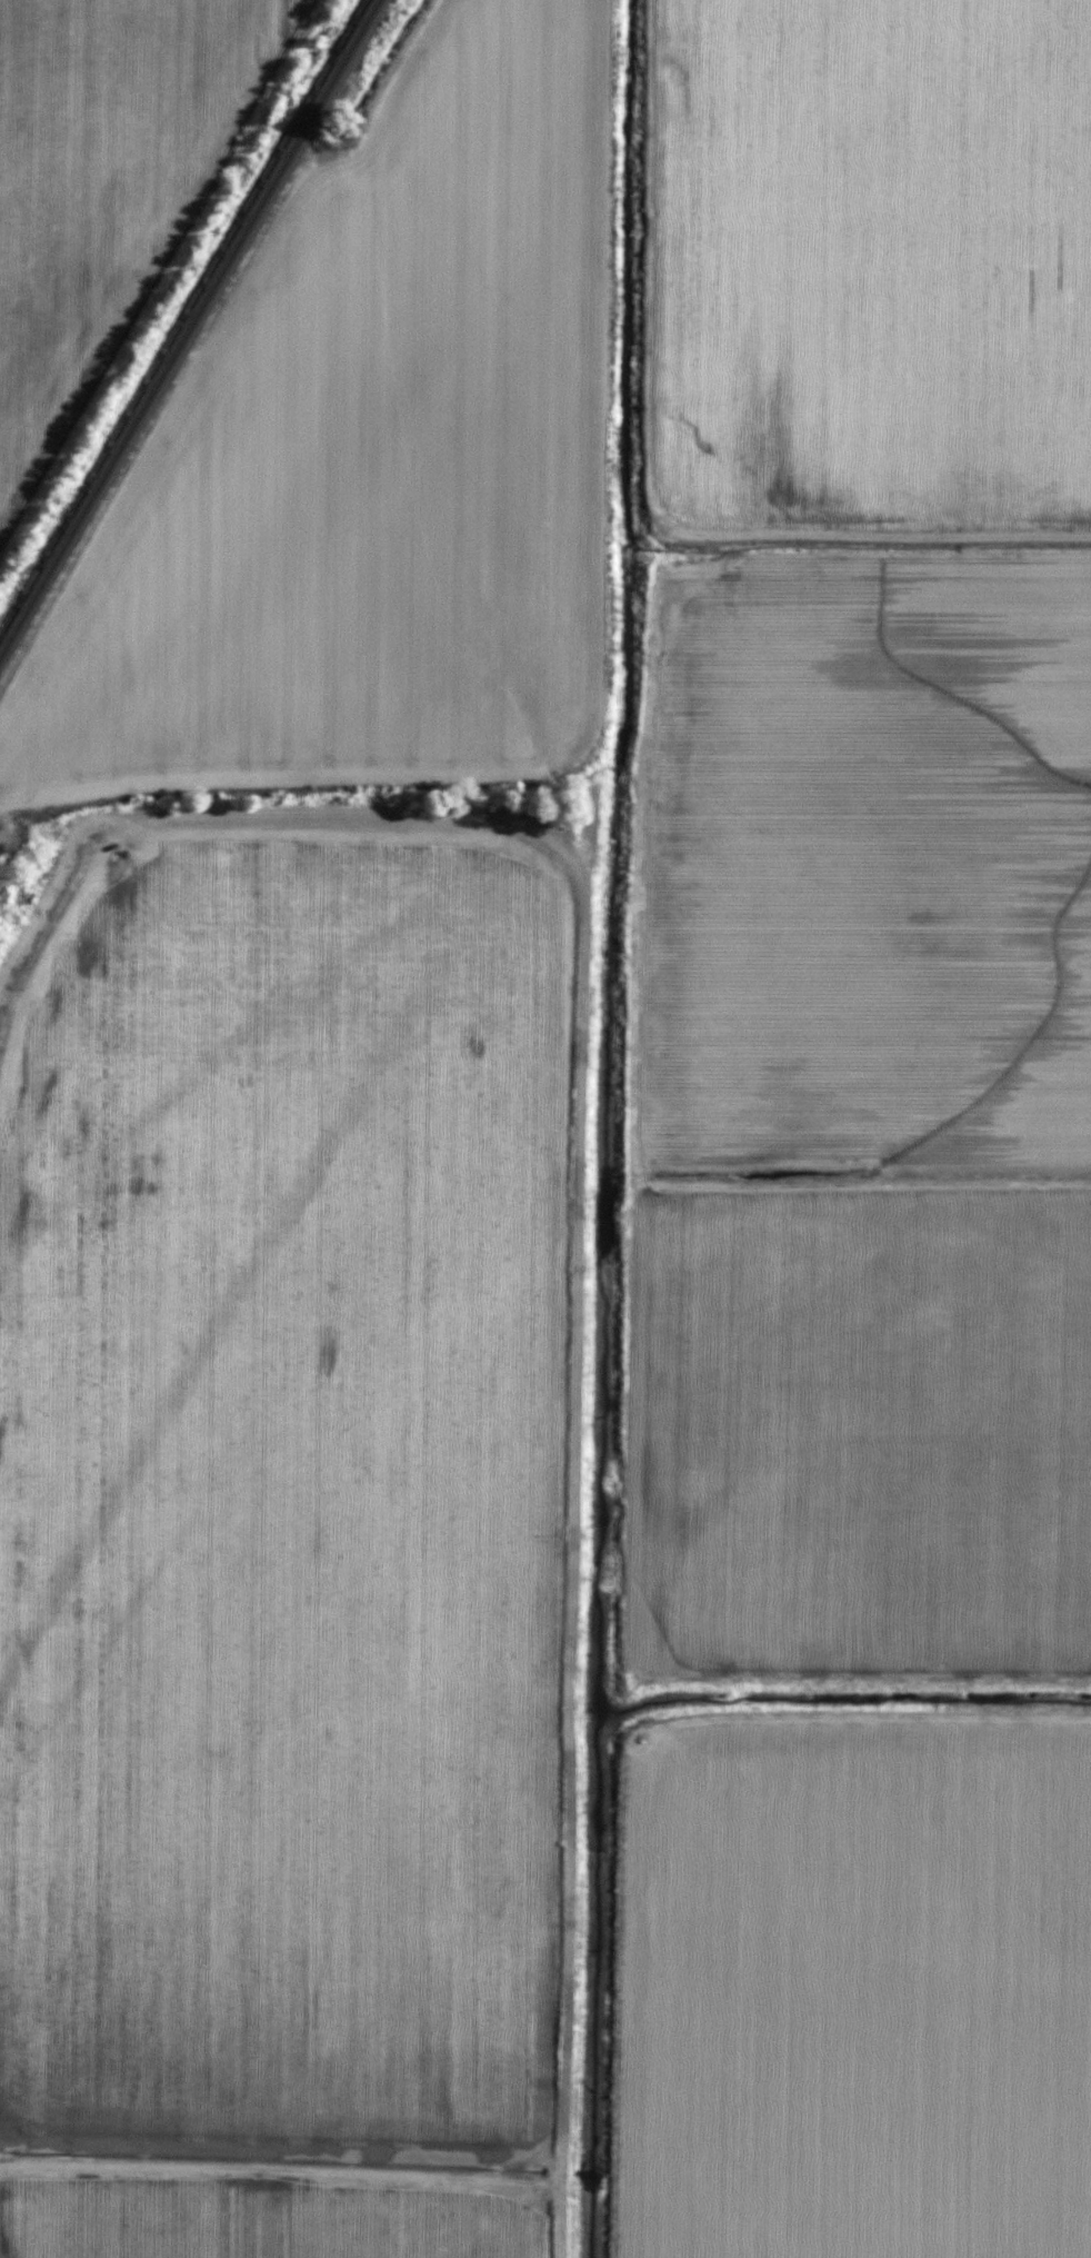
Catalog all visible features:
railway: (182, 316)
railway: (189, 327)

